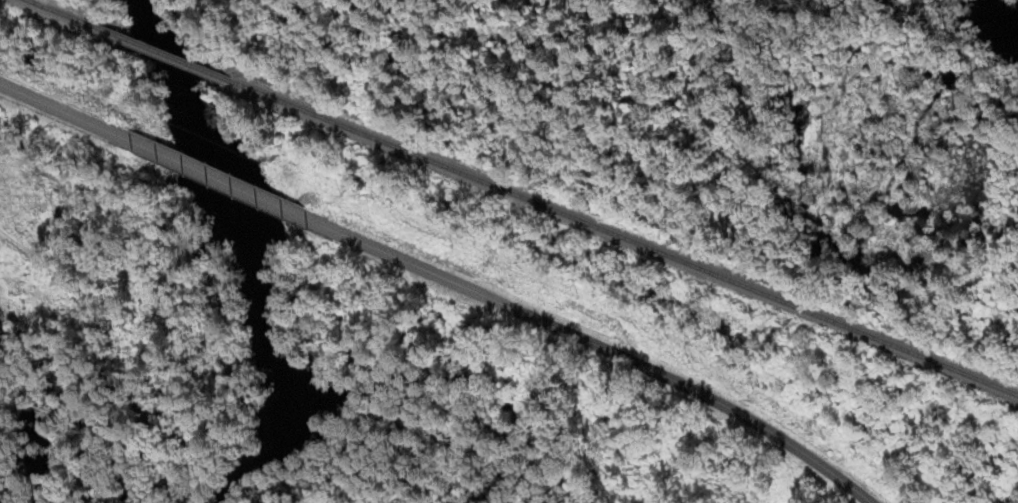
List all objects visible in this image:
railway: (57, 10)
railway: (157, 48)
road: (66, 103)
road: (210, 165)
railway: (625, 234)
road: (591, 342)

